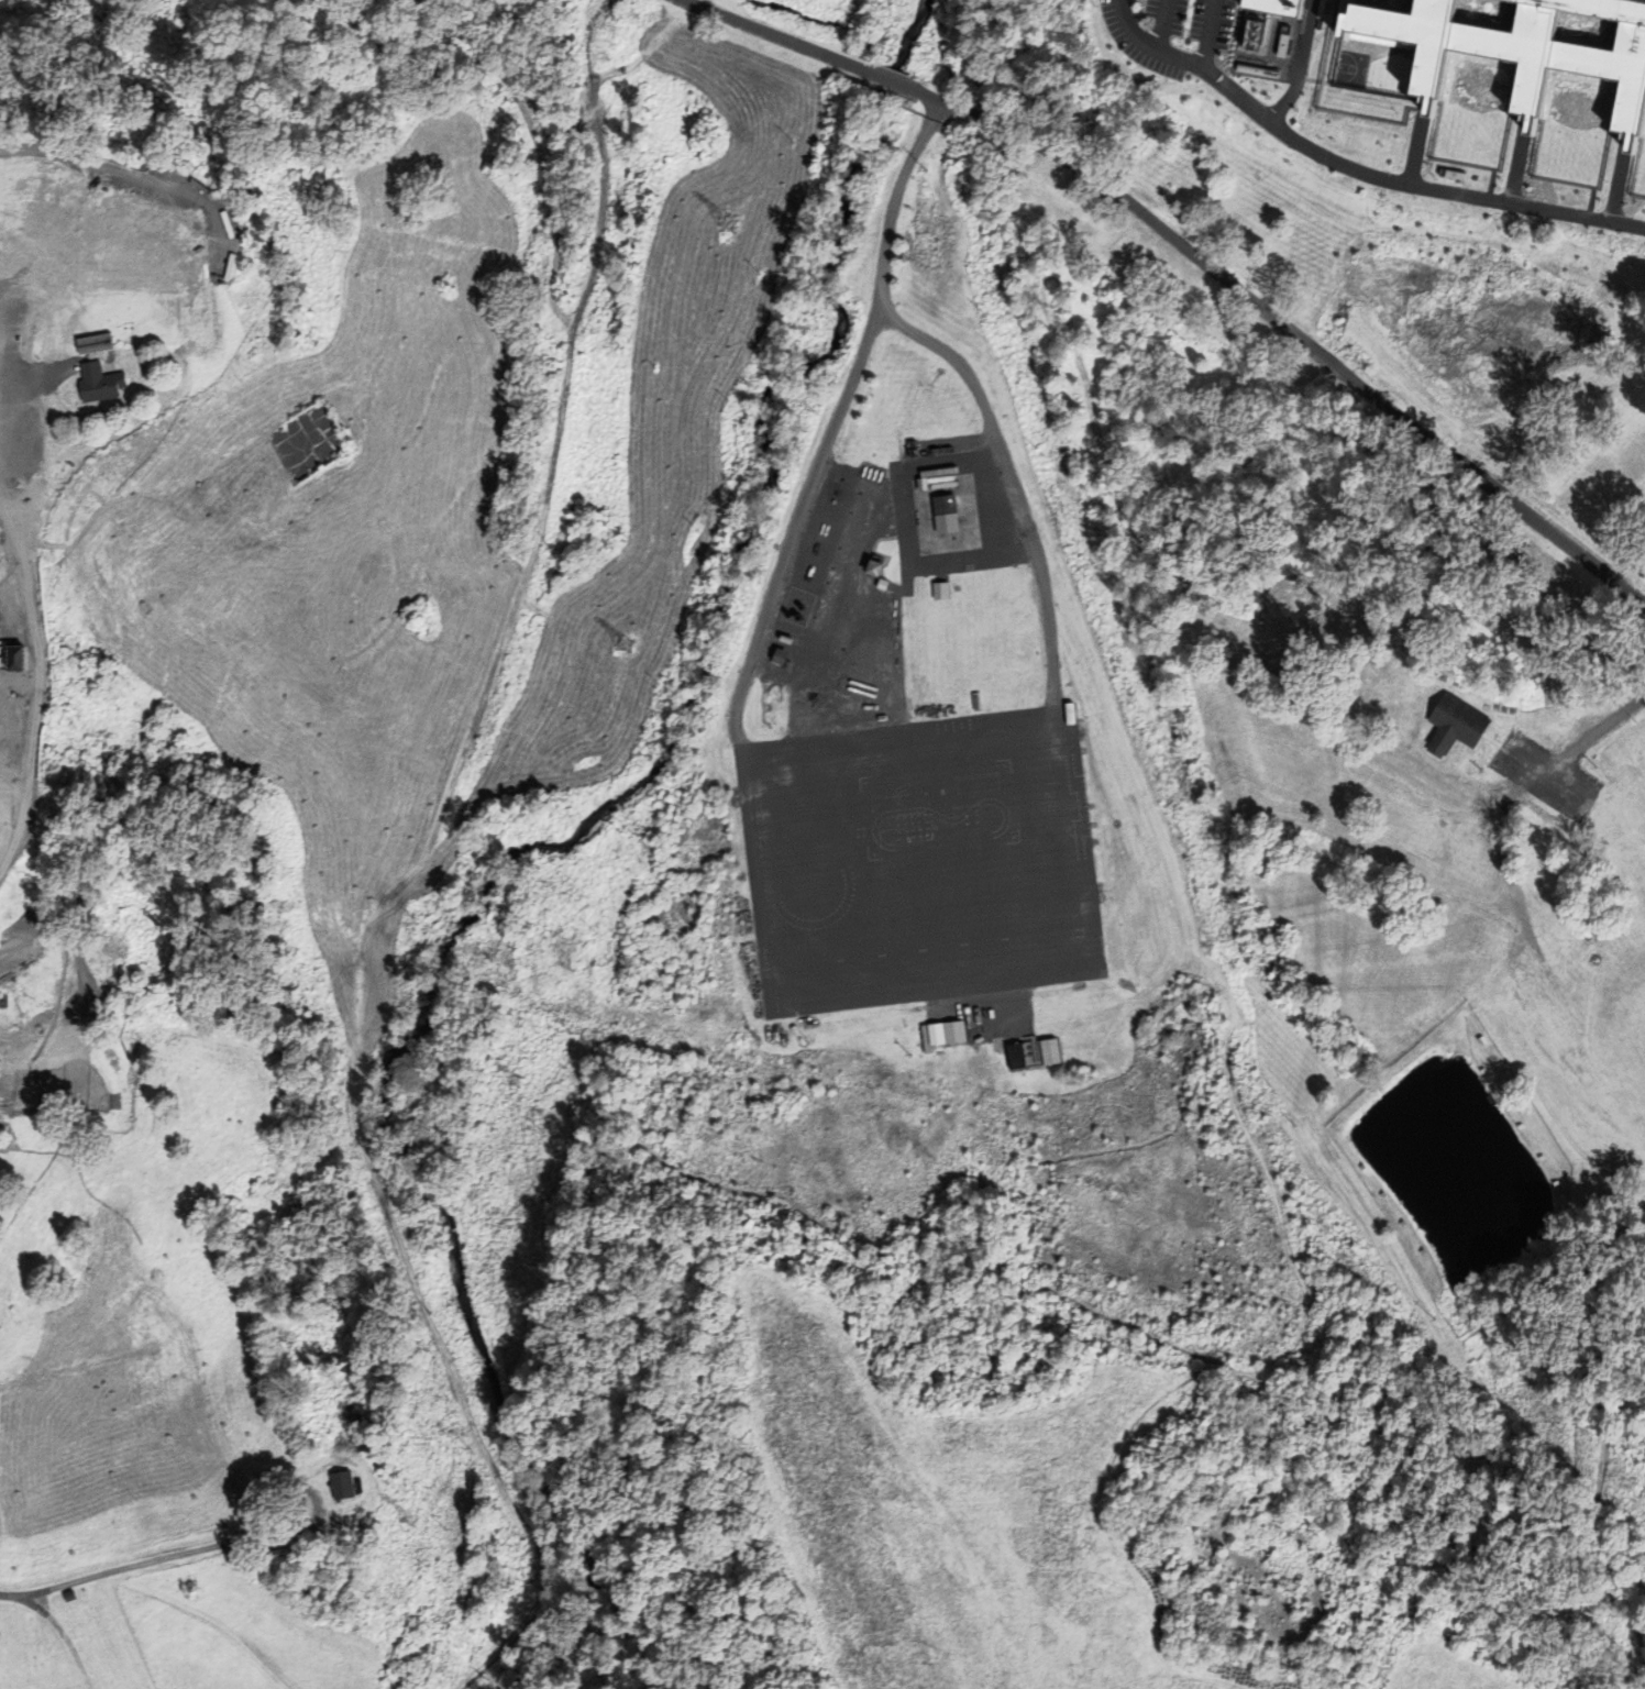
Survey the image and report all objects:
building: (1309, 3)
building: (1277, 7)
road: (1162, 24)
parking lot: (1171, 34)
road: (1208, 35)
road: (776, 37)
building: (1522, 49)
building: (1123, 58)
road: (892, 82)
building: (1265, 85)
building: (1451, 89)
road: (935, 110)
road: (1351, 170)
building: (1453, 176)
power tower: (722, 225)
building: (117, 261)
road: (552, 310)
road: (1289, 332)
building: (101, 382)
road: (831, 430)
building: (1520, 439)
park: (309, 441)
building: (864, 472)
storage tank: (864, 472)
building: (871, 474)
storage tank: (871, 474)
building: (876, 475)
storage tank: (876, 475)
building: (881, 477)
storage tank: (881, 477)
road: (1011, 477)
building: (1605, 501)
building: (946, 515)
building: (866, 568)
building: (874, 568)
building: (883, 585)
building: (786, 640)
power tower: (622, 648)
building: (10, 654)
building: (780, 658)
building: (1067, 714)
building: (47, 717)
building: (1456, 725)
river: (551, 848)
road: (1488, 937)
building: (947, 1034)
building: (46, 1050)
building: (1050, 1053)
building: (2, 1058)
building: (1016, 1058)
power tower: (508, 1080)
road: (898, 1223)
building: (332, 1484)
building: (344, 1484)
road: (314, 1498)
road: (1604, 1513)
building: (368, 1517)
power tower: (399, 1517)
road: (110, 1570)
building: (71, 1594)

